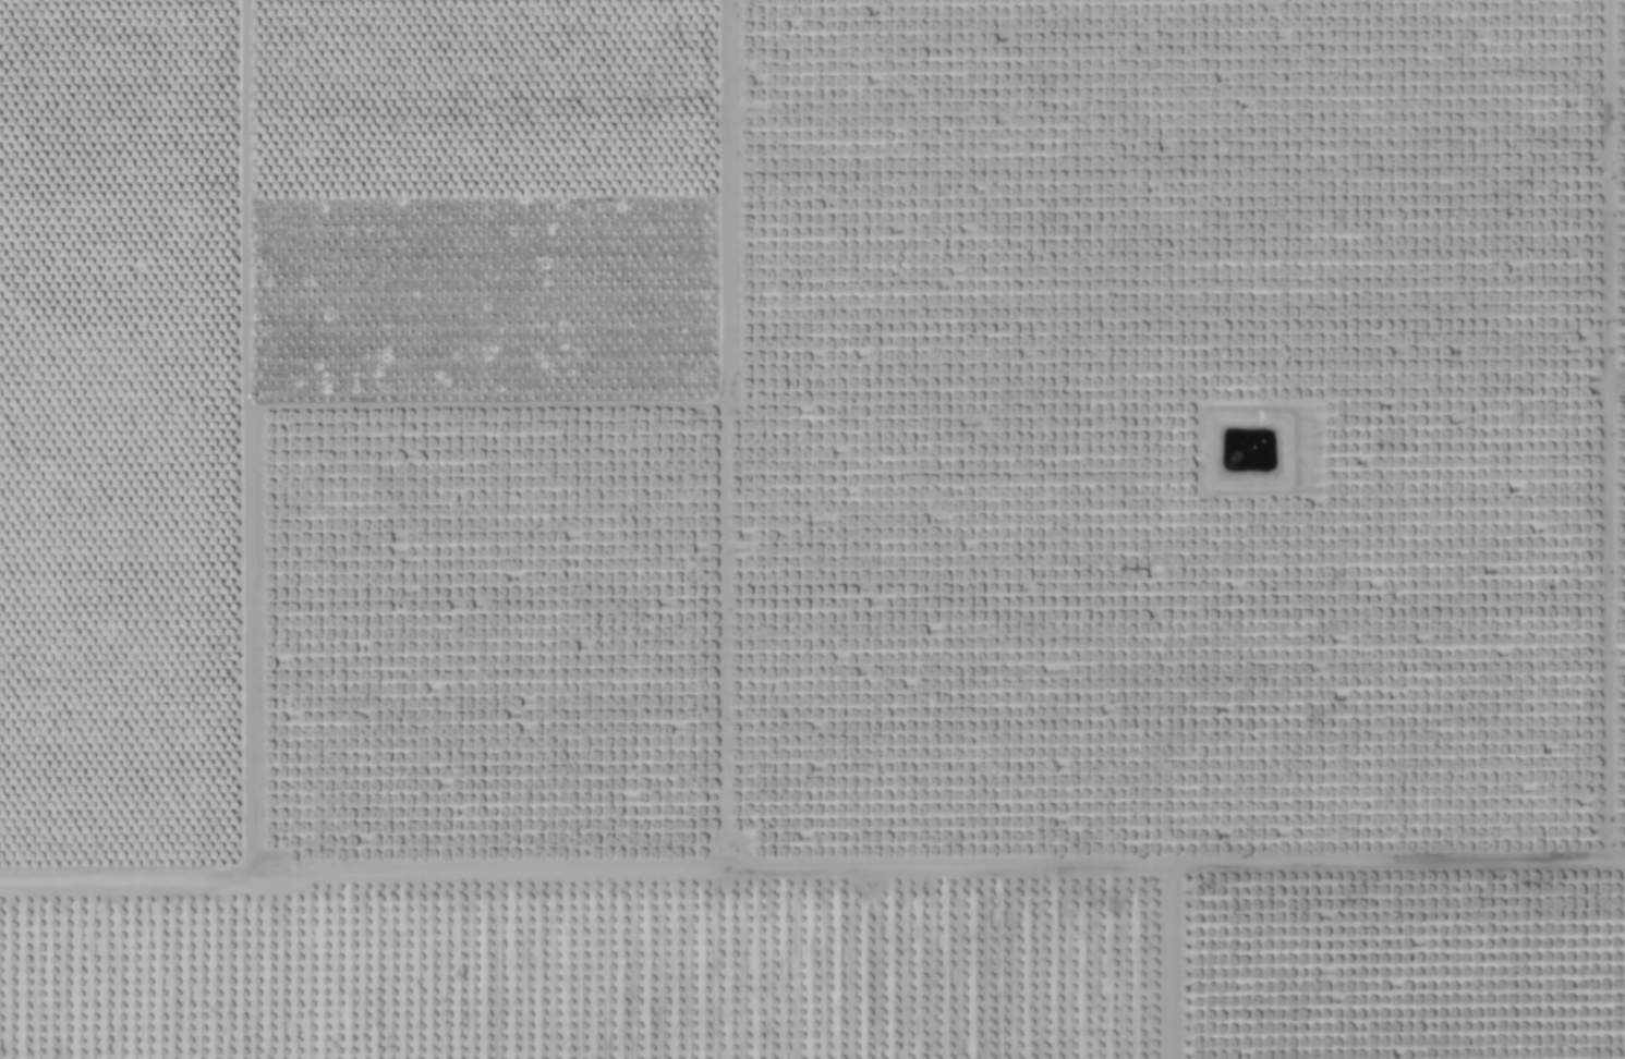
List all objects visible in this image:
road: (739, 407)
building: (512, 647)
road: (1317, 873)
road: (590, 878)

